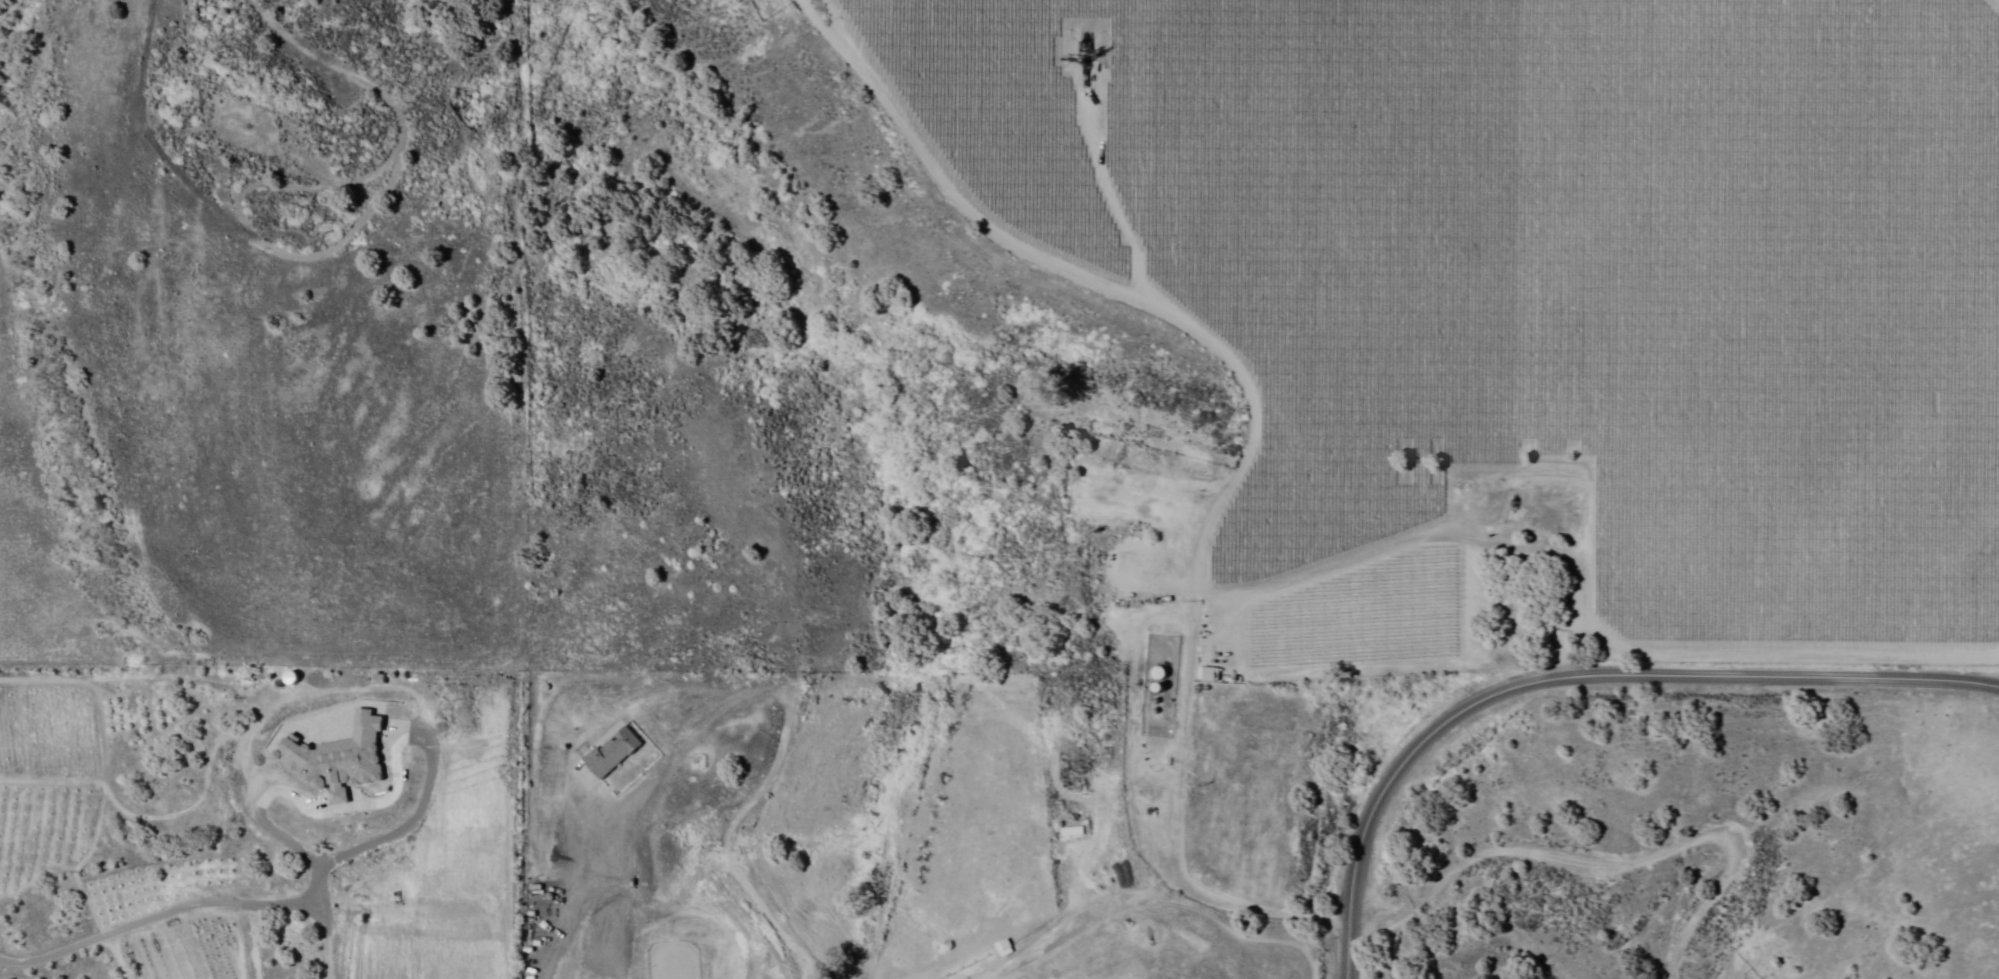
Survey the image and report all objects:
road: (340, 66)
road: (945, 181)
road: (1088, 188)
road: (241, 209)
road: (1208, 535)
building: (1205, 673)
road: (1573, 674)
building: (609, 751)
building: (334, 757)
building: (1070, 831)
road: (726, 851)
road: (1426, 889)
building: (1001, 947)

